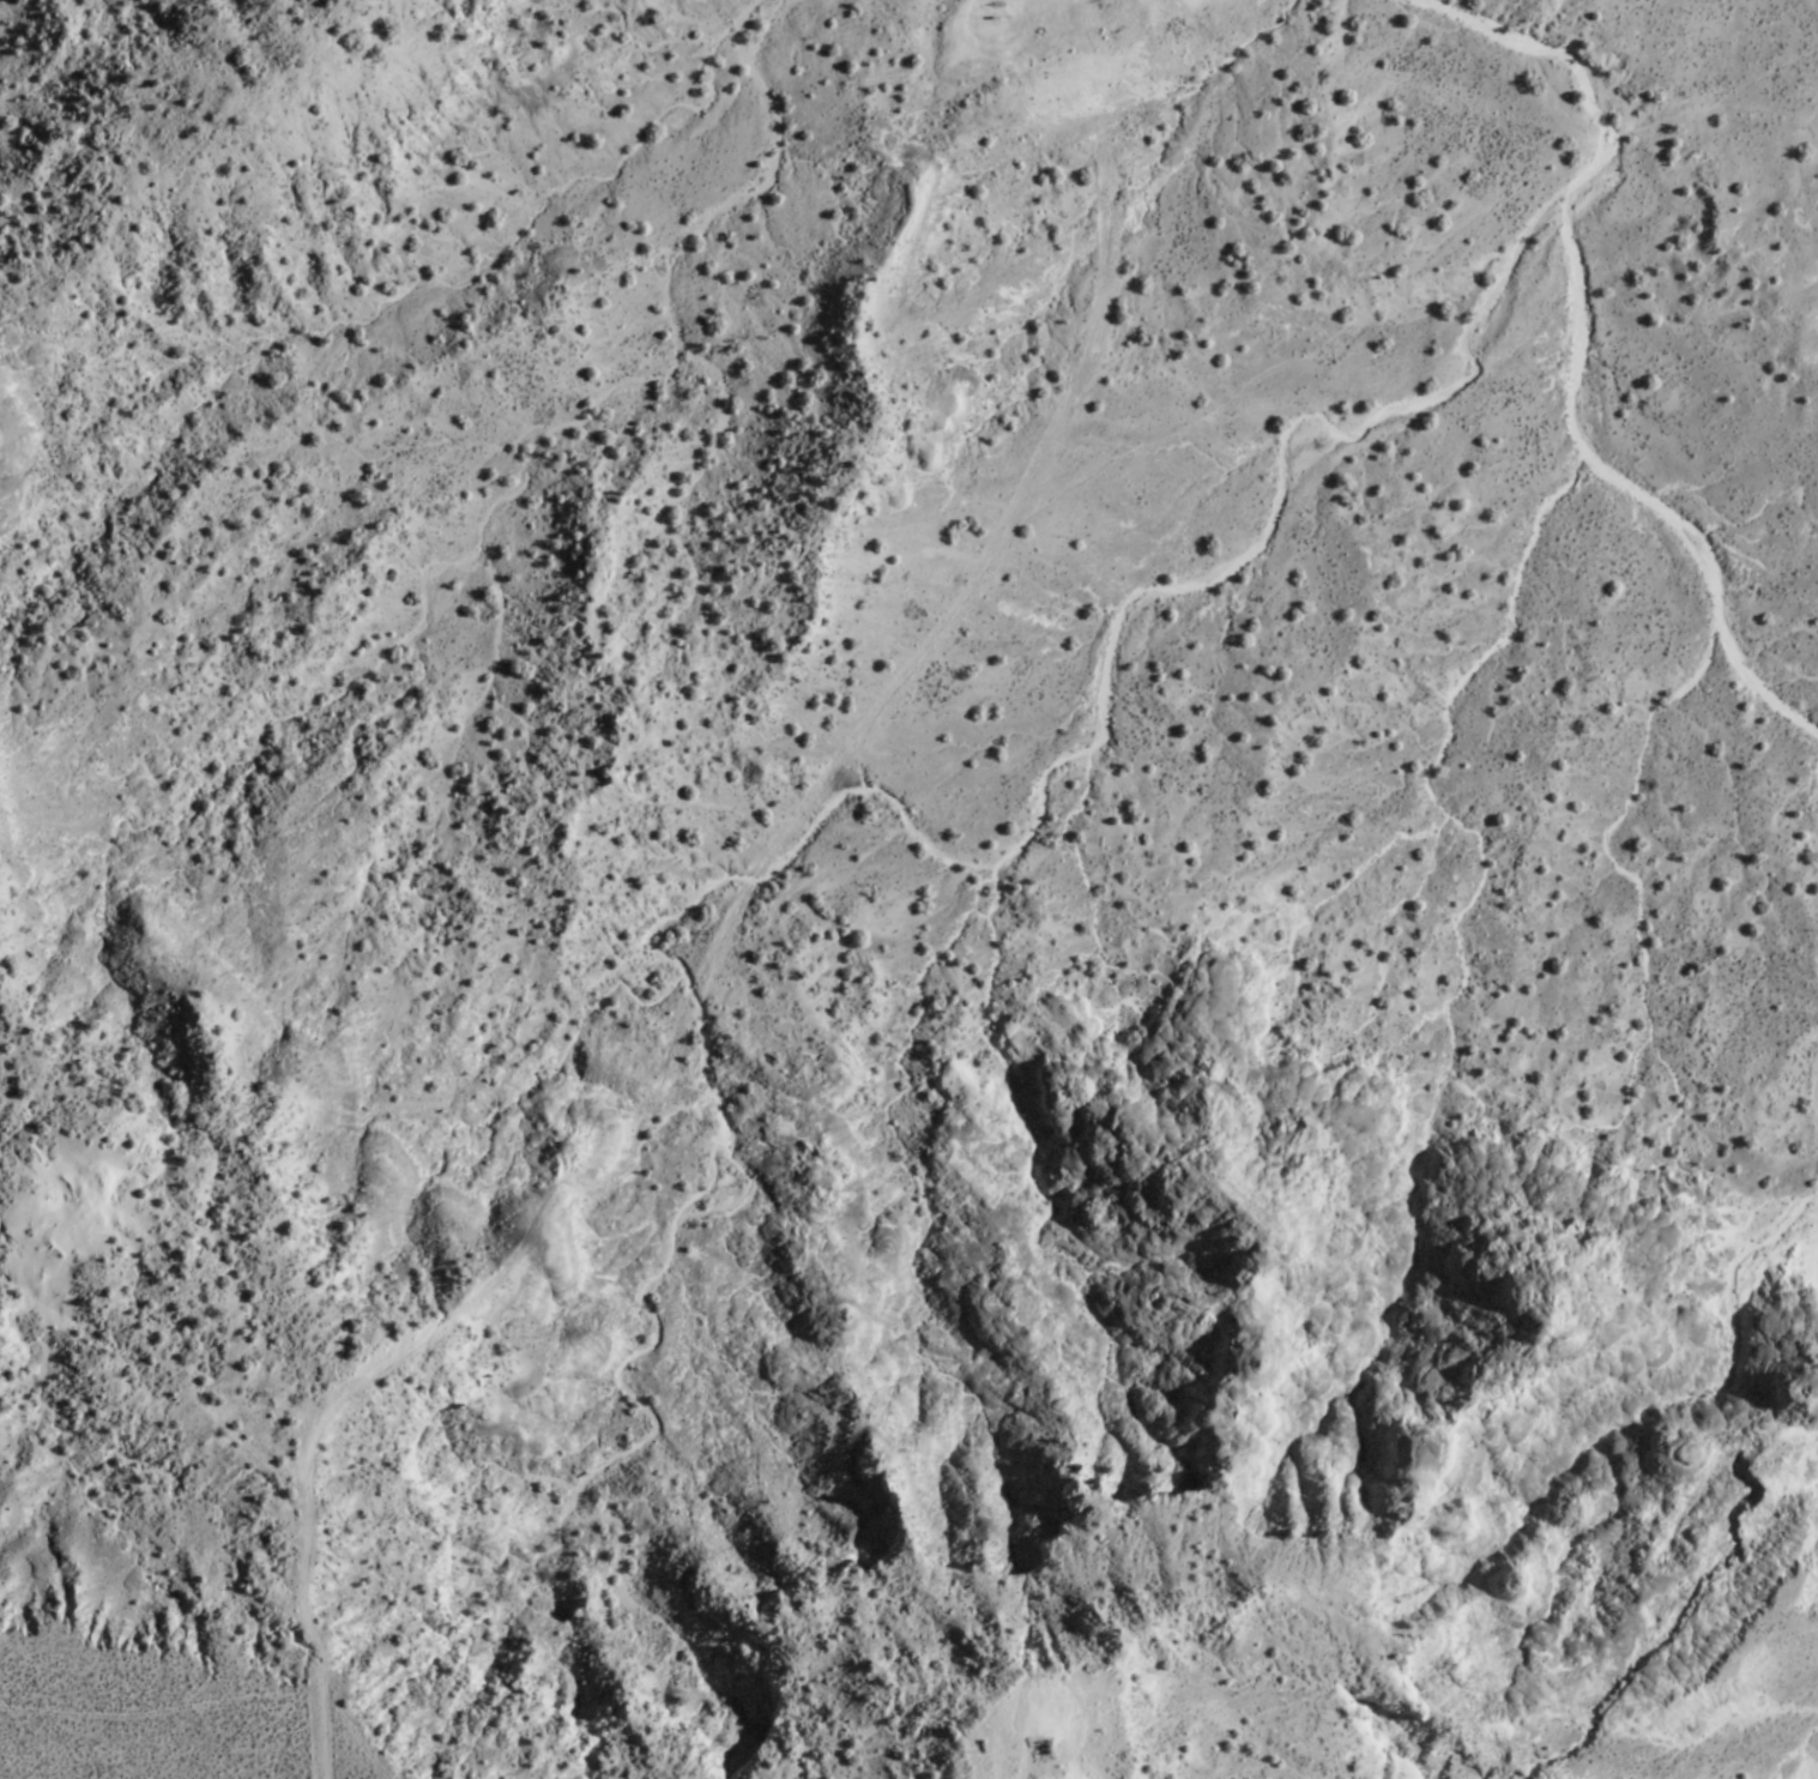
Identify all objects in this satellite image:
road: (1370, 65)

